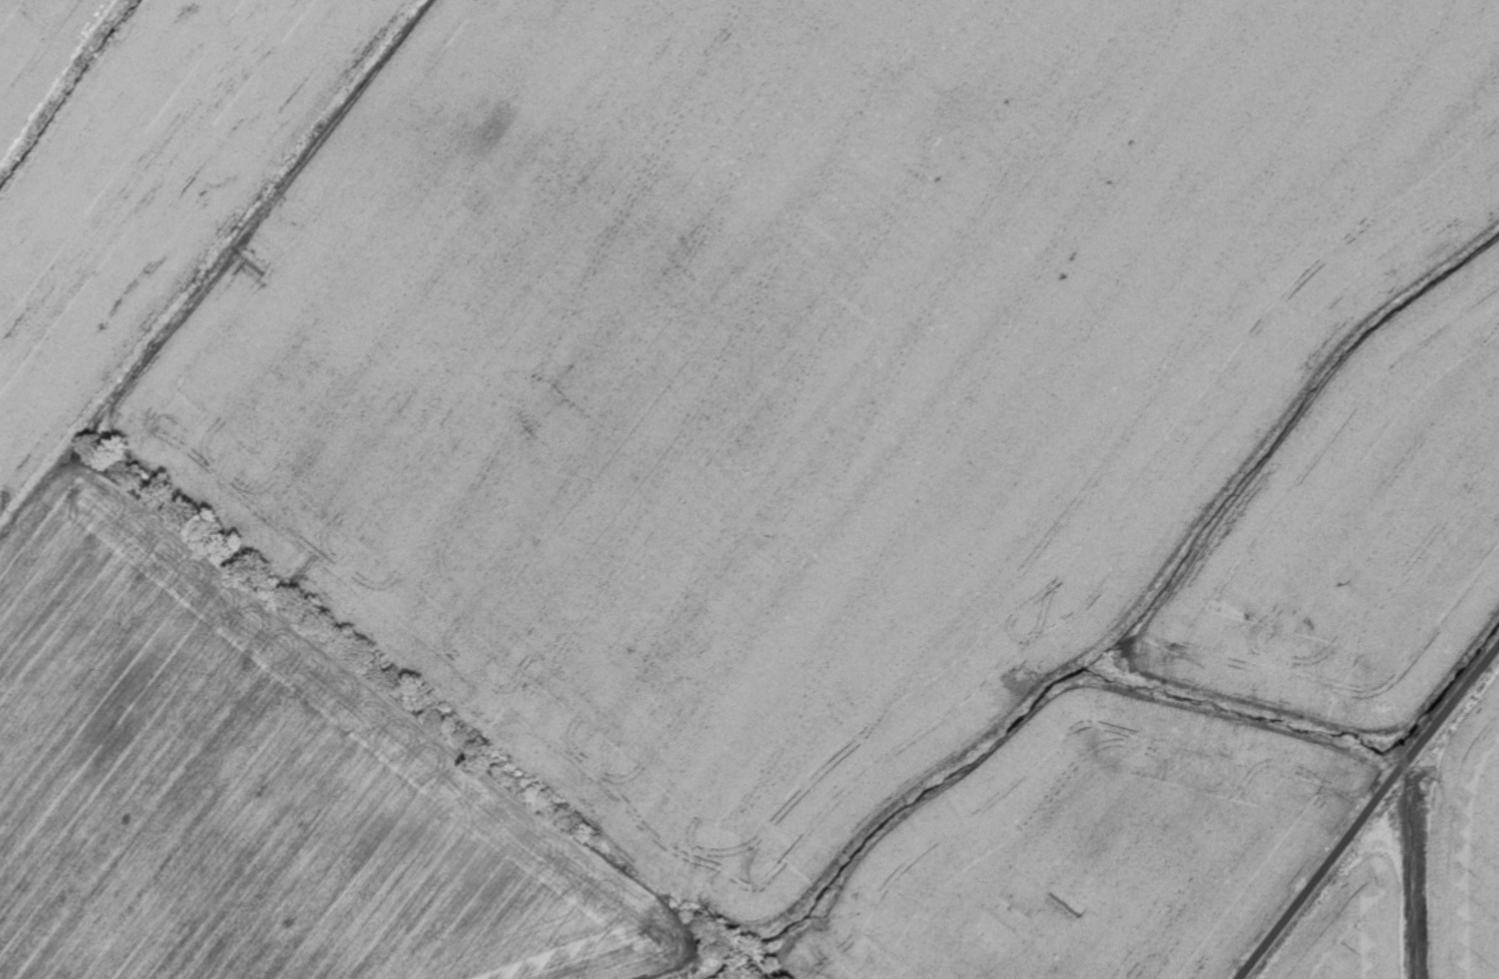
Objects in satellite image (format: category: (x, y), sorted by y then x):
road: (1366, 810)

